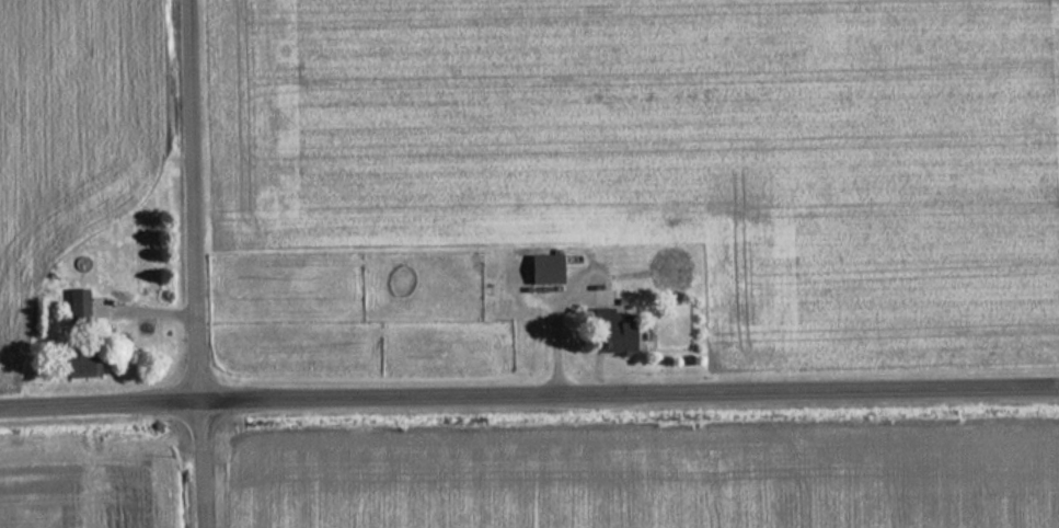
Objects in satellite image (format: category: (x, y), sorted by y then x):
crop: (68, 133)
crop: (672, 151)
road: (195, 264)
building: (539, 269)
building: (74, 303)
building: (599, 318)
road: (529, 399)
crop: (651, 481)
crop: (77, 492)

